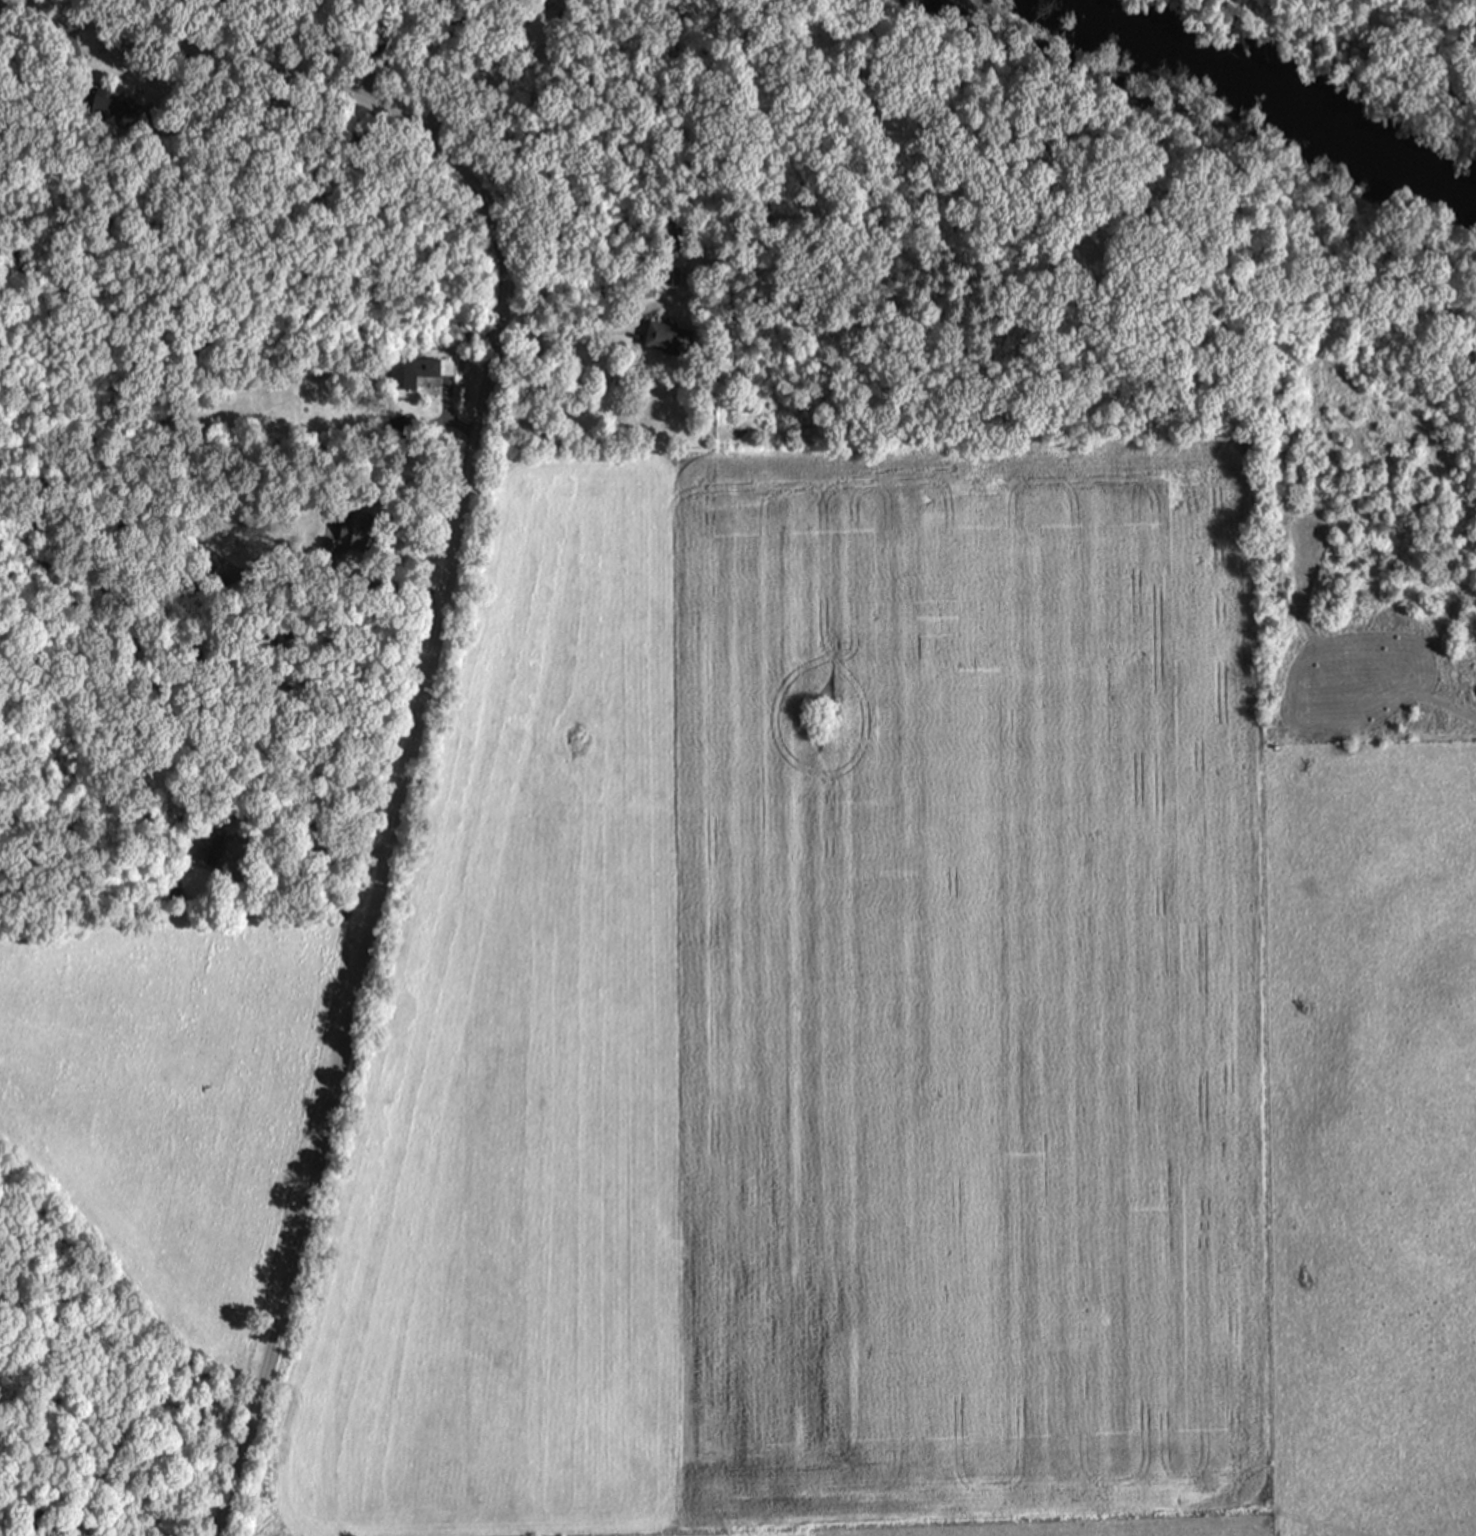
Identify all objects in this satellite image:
road: (24, 6)
parking lot: (547, 16)
road: (507, 28)
road: (74, 53)
road: (479, 76)
river: (1257, 79)
park: (607, 86)
building: (115, 109)
building: (889, 121)
road: (670, 149)
building: (668, 237)
road: (588, 332)
building: (666, 340)
building: (418, 366)
road: (445, 415)
road: (428, 424)
building: (395, 427)
building: (347, 534)
building: (198, 581)
road: (333, 583)
road: (440, 609)
building: (203, 847)
road: (302, 864)
building: (173, 894)

